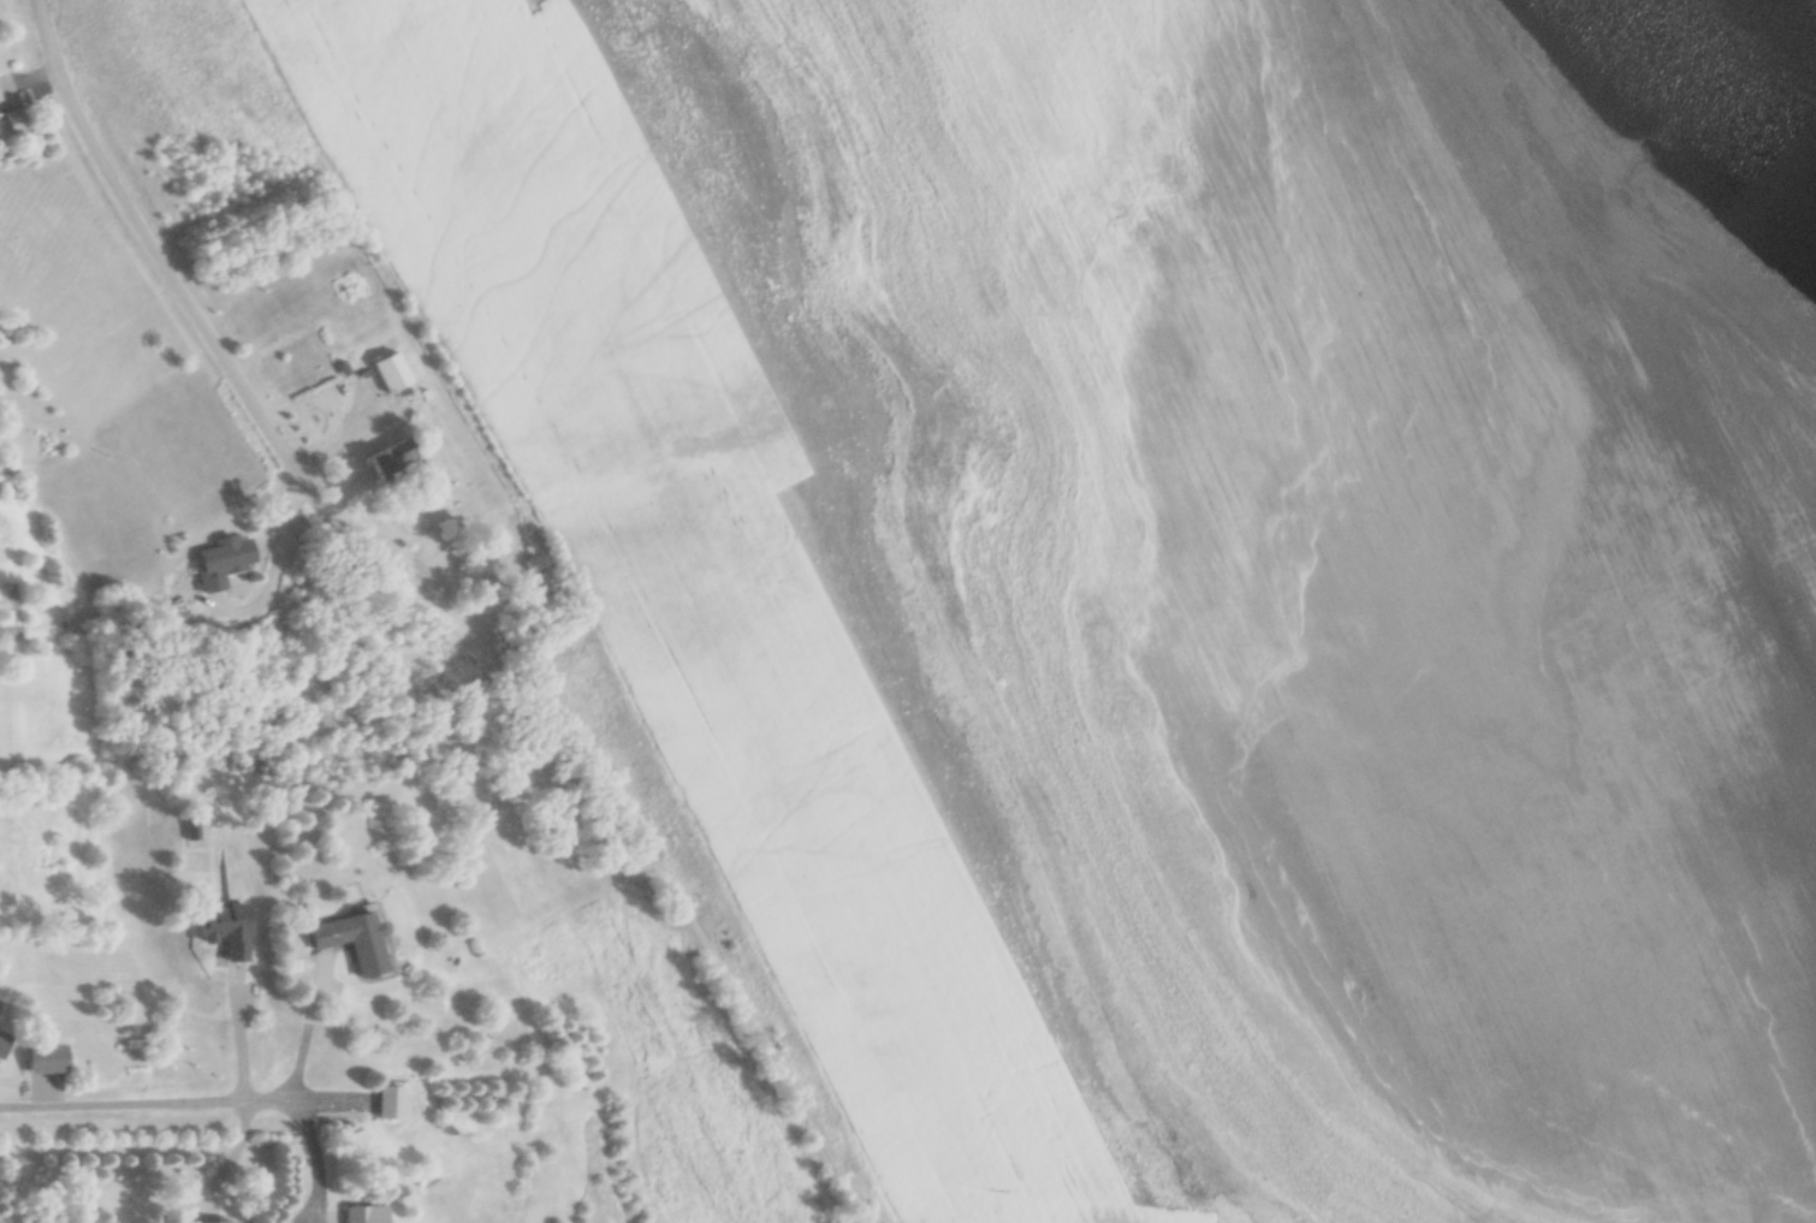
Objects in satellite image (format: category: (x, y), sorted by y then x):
river: (1728, 81)
building: (16, 120)
road: (191, 314)
building: (390, 372)
building: (392, 458)
building: (221, 559)
building: (535, 562)
crop: (1158, 576)
building: (222, 927)
building: (350, 939)
road: (307, 1029)
building: (2, 1043)
building: (44, 1057)
building: (387, 1102)
road: (168, 1103)
building: (357, 1215)
building: (208, 1222)

